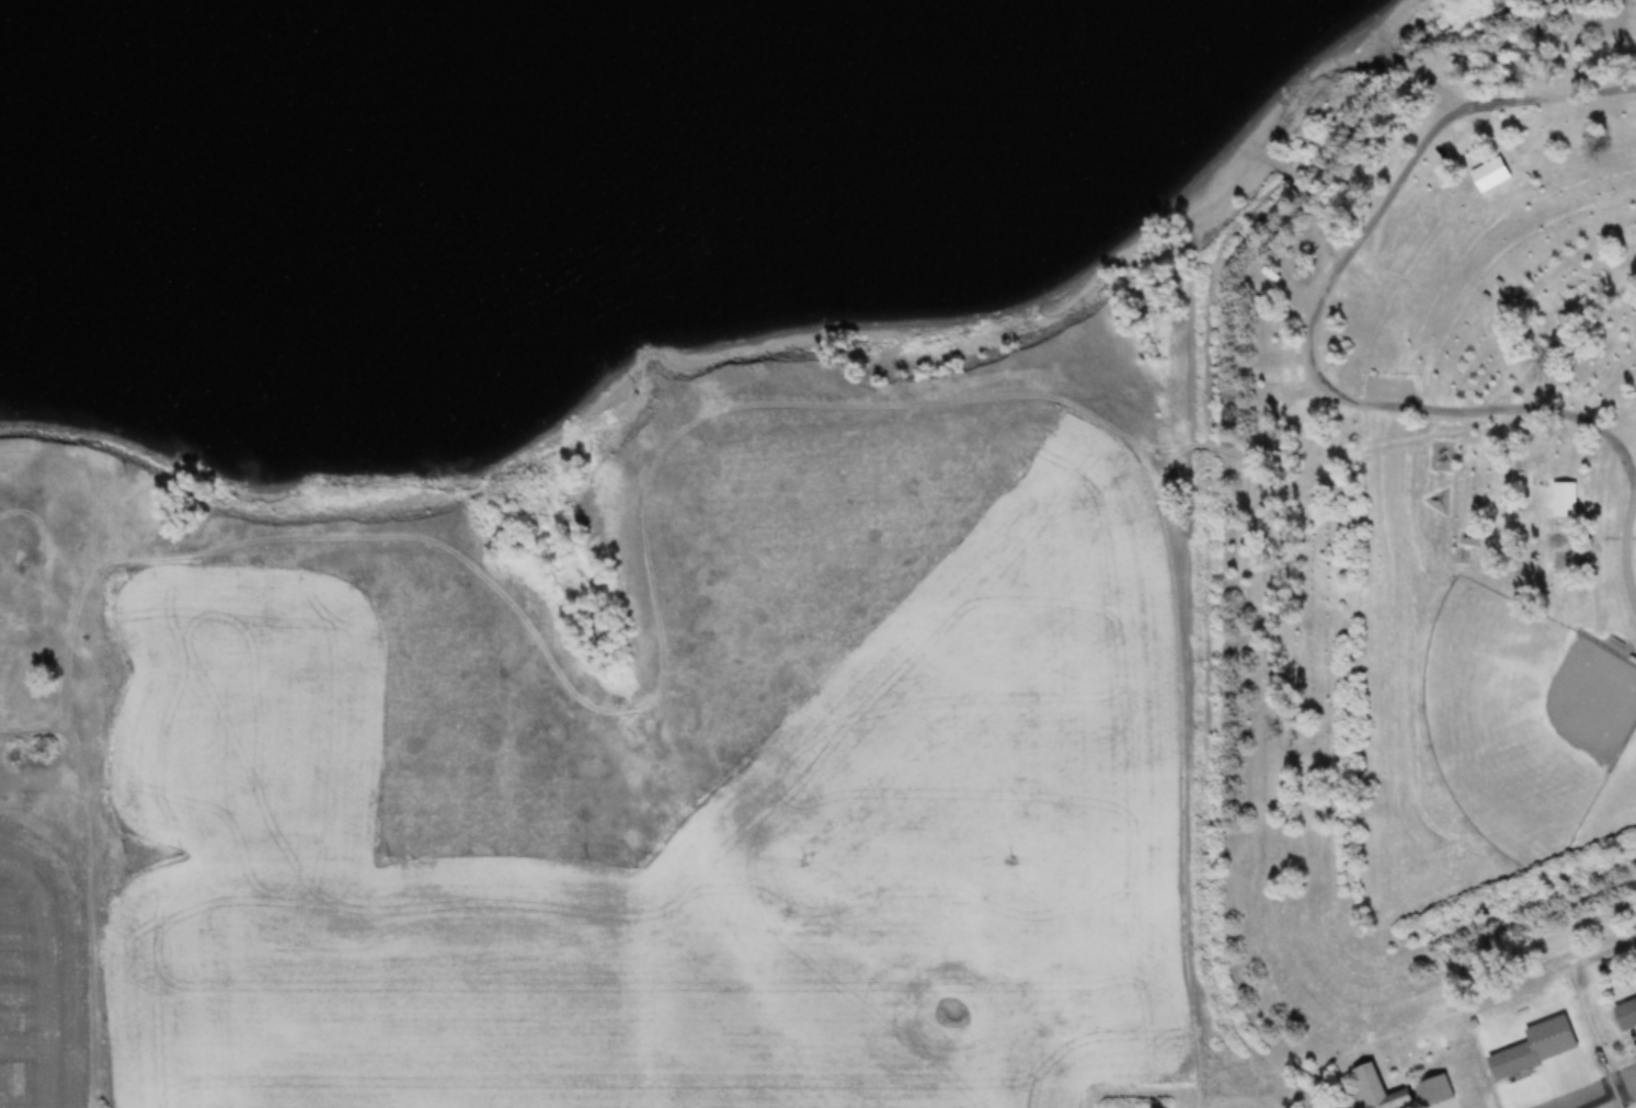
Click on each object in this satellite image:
building: (1490, 173)
road: (1320, 306)
road: (1629, 544)
building: (1617, 646)
park: (1519, 720)
building: (1626, 1015)
building: (1517, 1061)
building: (1382, 1089)
building: (1437, 1093)
road: (1609, 1097)
road: (1601, 1105)

